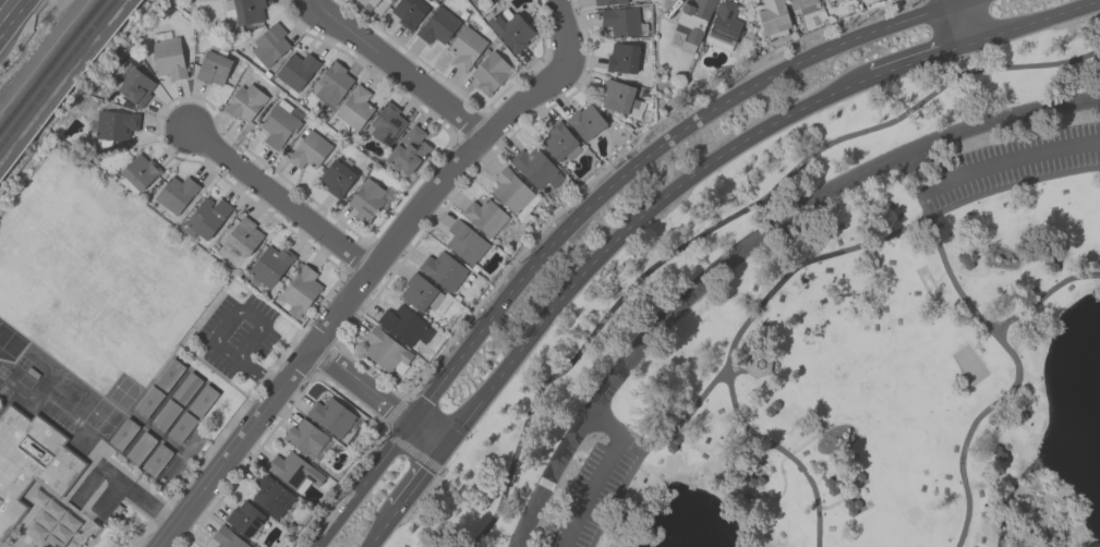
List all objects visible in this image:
building: (491, 0)
building: (826, 0)
building: (494, 1)
building: (607, 1)
building: (366, 3)
building: (802, 5)
building: (409, 11)
building: (241, 12)
road: (12, 16)
building: (773, 19)
building: (621, 21)
building: (691, 22)
road: (960, 22)
building: (437, 25)
building: (723, 25)
building: (510, 29)
building: (269, 44)
building: (466, 47)
railway: (43, 54)
building: (167, 57)
building: (621, 57)
railway: (49, 62)
building: (213, 64)
road: (398, 66)
building: (295, 70)
railway: (56, 71)
building: (489, 72)
building: (331, 83)
building: (135, 86)
building: (619, 98)
building: (244, 101)
building: (354, 107)
building: (585, 121)
building: (280, 122)
building: (386, 123)
building: (114, 124)
building: (558, 142)
building: (307, 149)
building: (408, 150)
road: (724, 156)
road: (652, 157)
building: (535, 167)
road: (989, 169)
building: (137, 173)
building: (336, 177)
building: (174, 193)
building: (512, 193)
road: (281, 196)
building: (365, 199)
building: (484, 215)
building: (207, 217)
road: (722, 221)
building: (243, 235)
building: (464, 242)
road: (748, 246)
road: (377, 256)
building: (269, 266)
building: (443, 269)
road: (786, 279)
building: (298, 291)
building: (420, 292)
road: (1044, 300)
road: (240, 309)
building: (404, 324)
park: (831, 340)
building: (385, 351)
building: (760, 365)
building: (168, 374)
road: (257, 374)
road: (1015, 379)
road: (360, 386)
building: (185, 387)
building: (202, 399)
building: (147, 401)
building: (165, 414)
building: (330, 415)
building: (181, 426)
building: (122, 434)
road: (427, 437)
building: (306, 439)
road: (808, 442)
building: (140, 448)
road: (779, 451)
building: (1000, 452)
building: (156, 458)
building: (29, 460)
building: (293, 471)
road: (107, 473)
road: (601, 475)
road: (365, 486)
building: (269, 495)
road: (108, 498)
road: (408, 498)
road: (147, 502)
building: (243, 518)
building: (51, 523)
road: (166, 535)
building: (227, 537)

